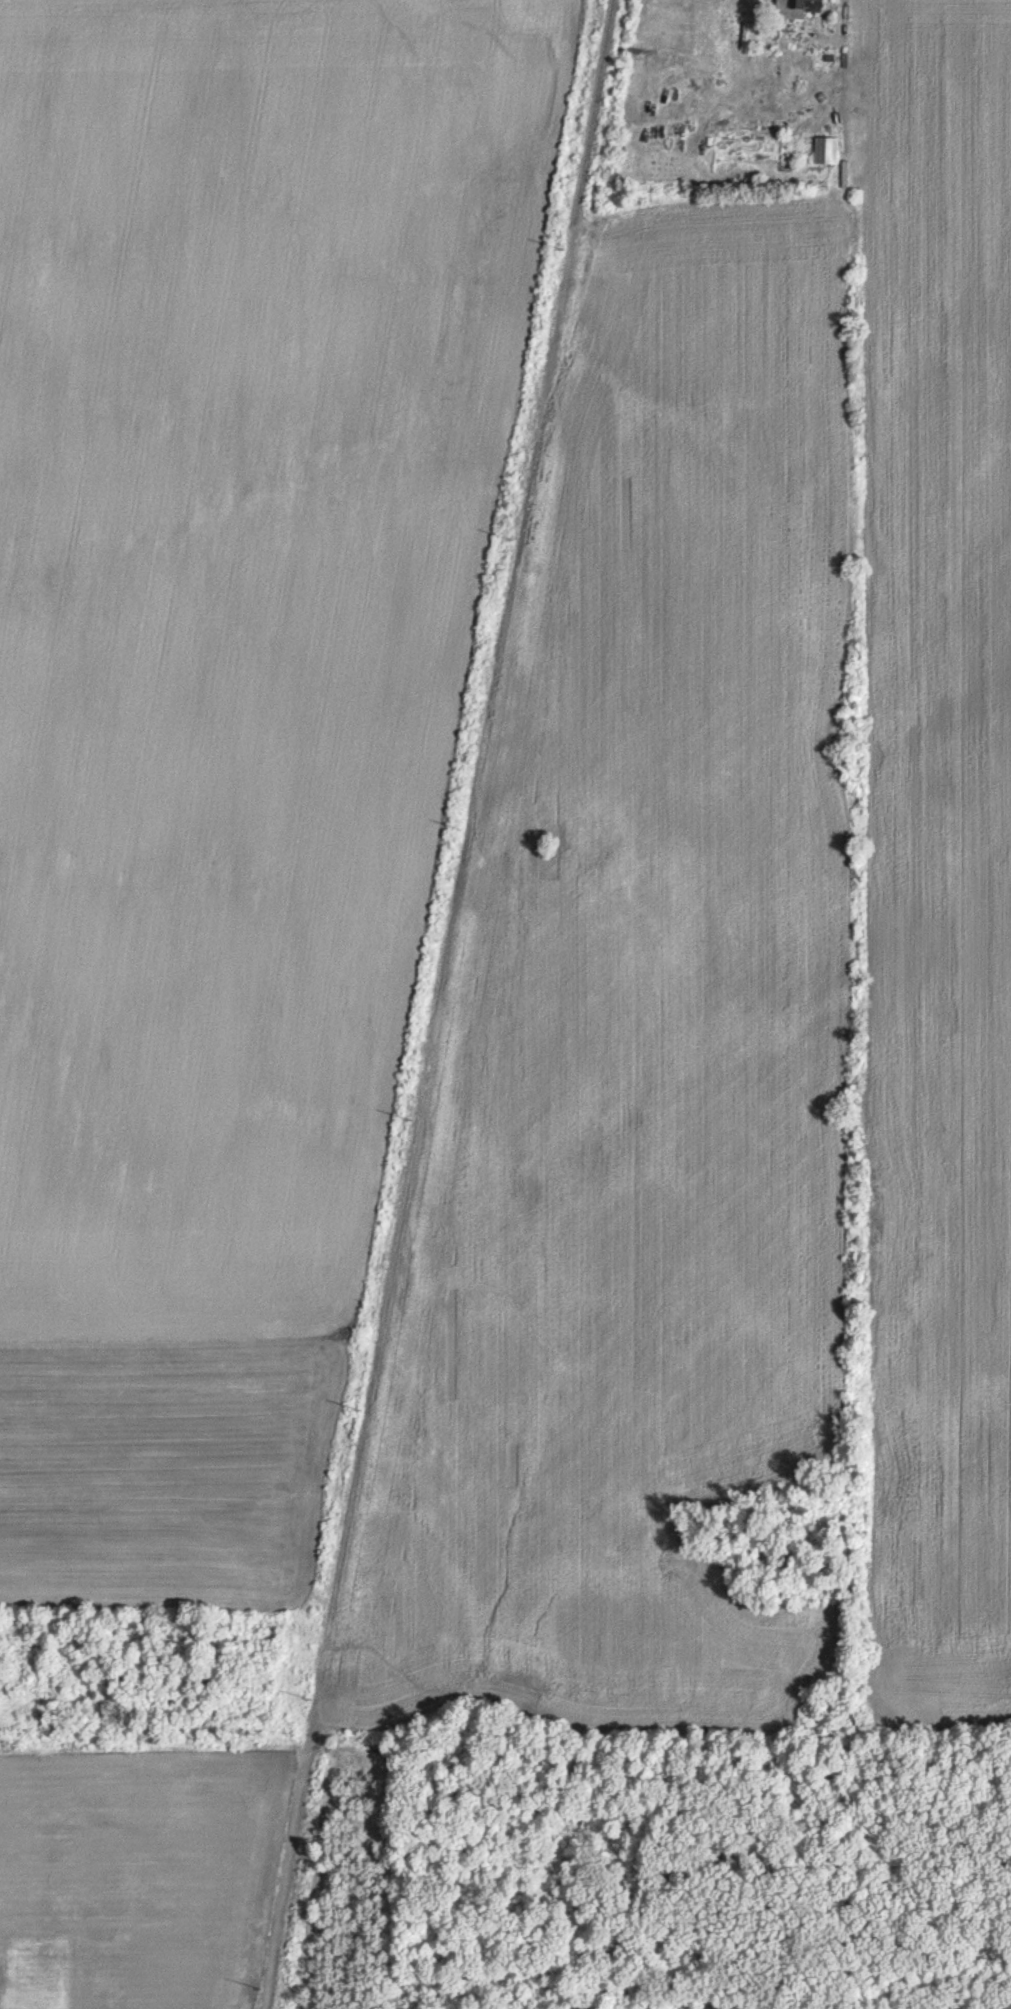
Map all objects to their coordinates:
building: (794, 7)
building: (824, 149)
crop: (232, 716)
crop: (938, 846)
crop: (641, 1026)
crop: (129, 1878)

